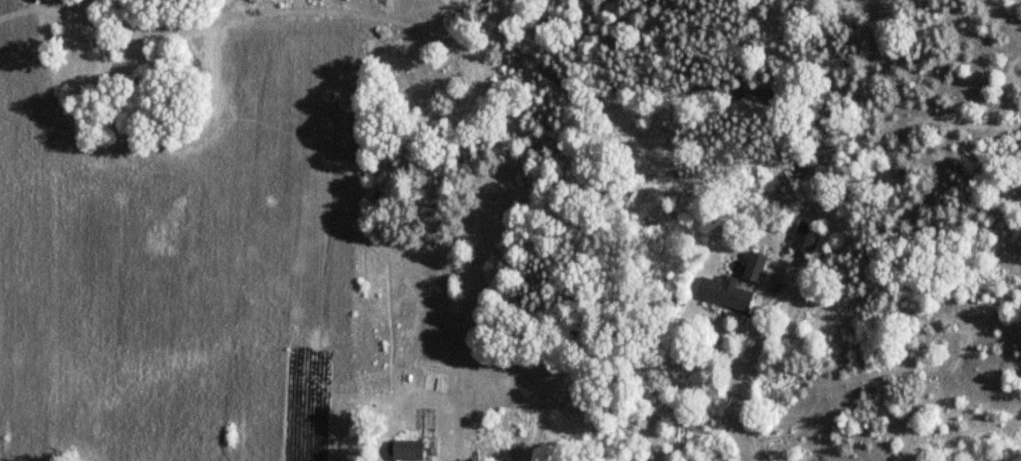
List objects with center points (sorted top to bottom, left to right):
building: (808, 238)
building: (758, 267)
building: (727, 293)
road: (737, 395)
building: (410, 451)
building: (485, 457)

